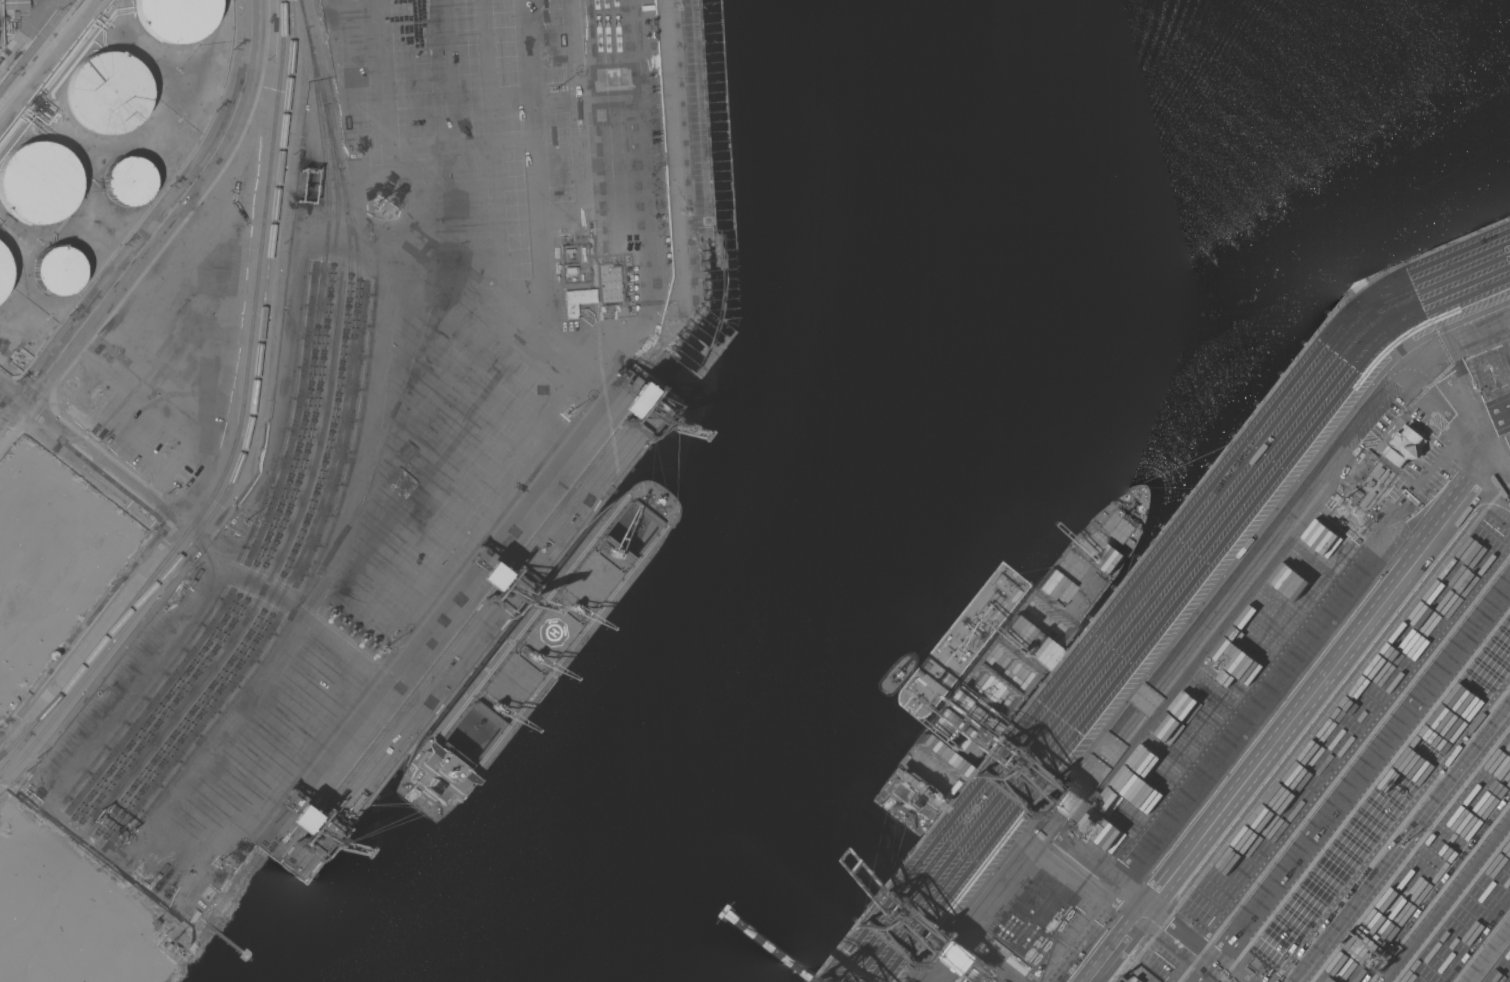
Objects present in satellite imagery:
building: (13, 7)
building: (178, 20)
storage tank: (178, 20)
road: (43, 55)
building: (109, 96)
storage tank: (109, 96)
road: (579, 105)
building: (129, 186)
storage tank: (129, 186)
building: (38, 188)
storage tank: (38, 188)
road: (157, 233)
building: (58, 278)
storage tank: (58, 278)
building: (2, 279)
storage tank: (2, 279)
building: (578, 302)
railway: (242, 426)
railway: (250, 431)
road: (574, 442)
building: (1404, 446)
railway: (337, 454)
road: (87, 459)
road: (1494, 460)
railway: (297, 465)
building: (1374, 490)
railway: (294, 499)
railway: (302, 535)
road: (282, 597)
railway: (141, 600)
road: (87, 641)
railway: (35, 723)
building: (198, 908)
building: (974, 975)

